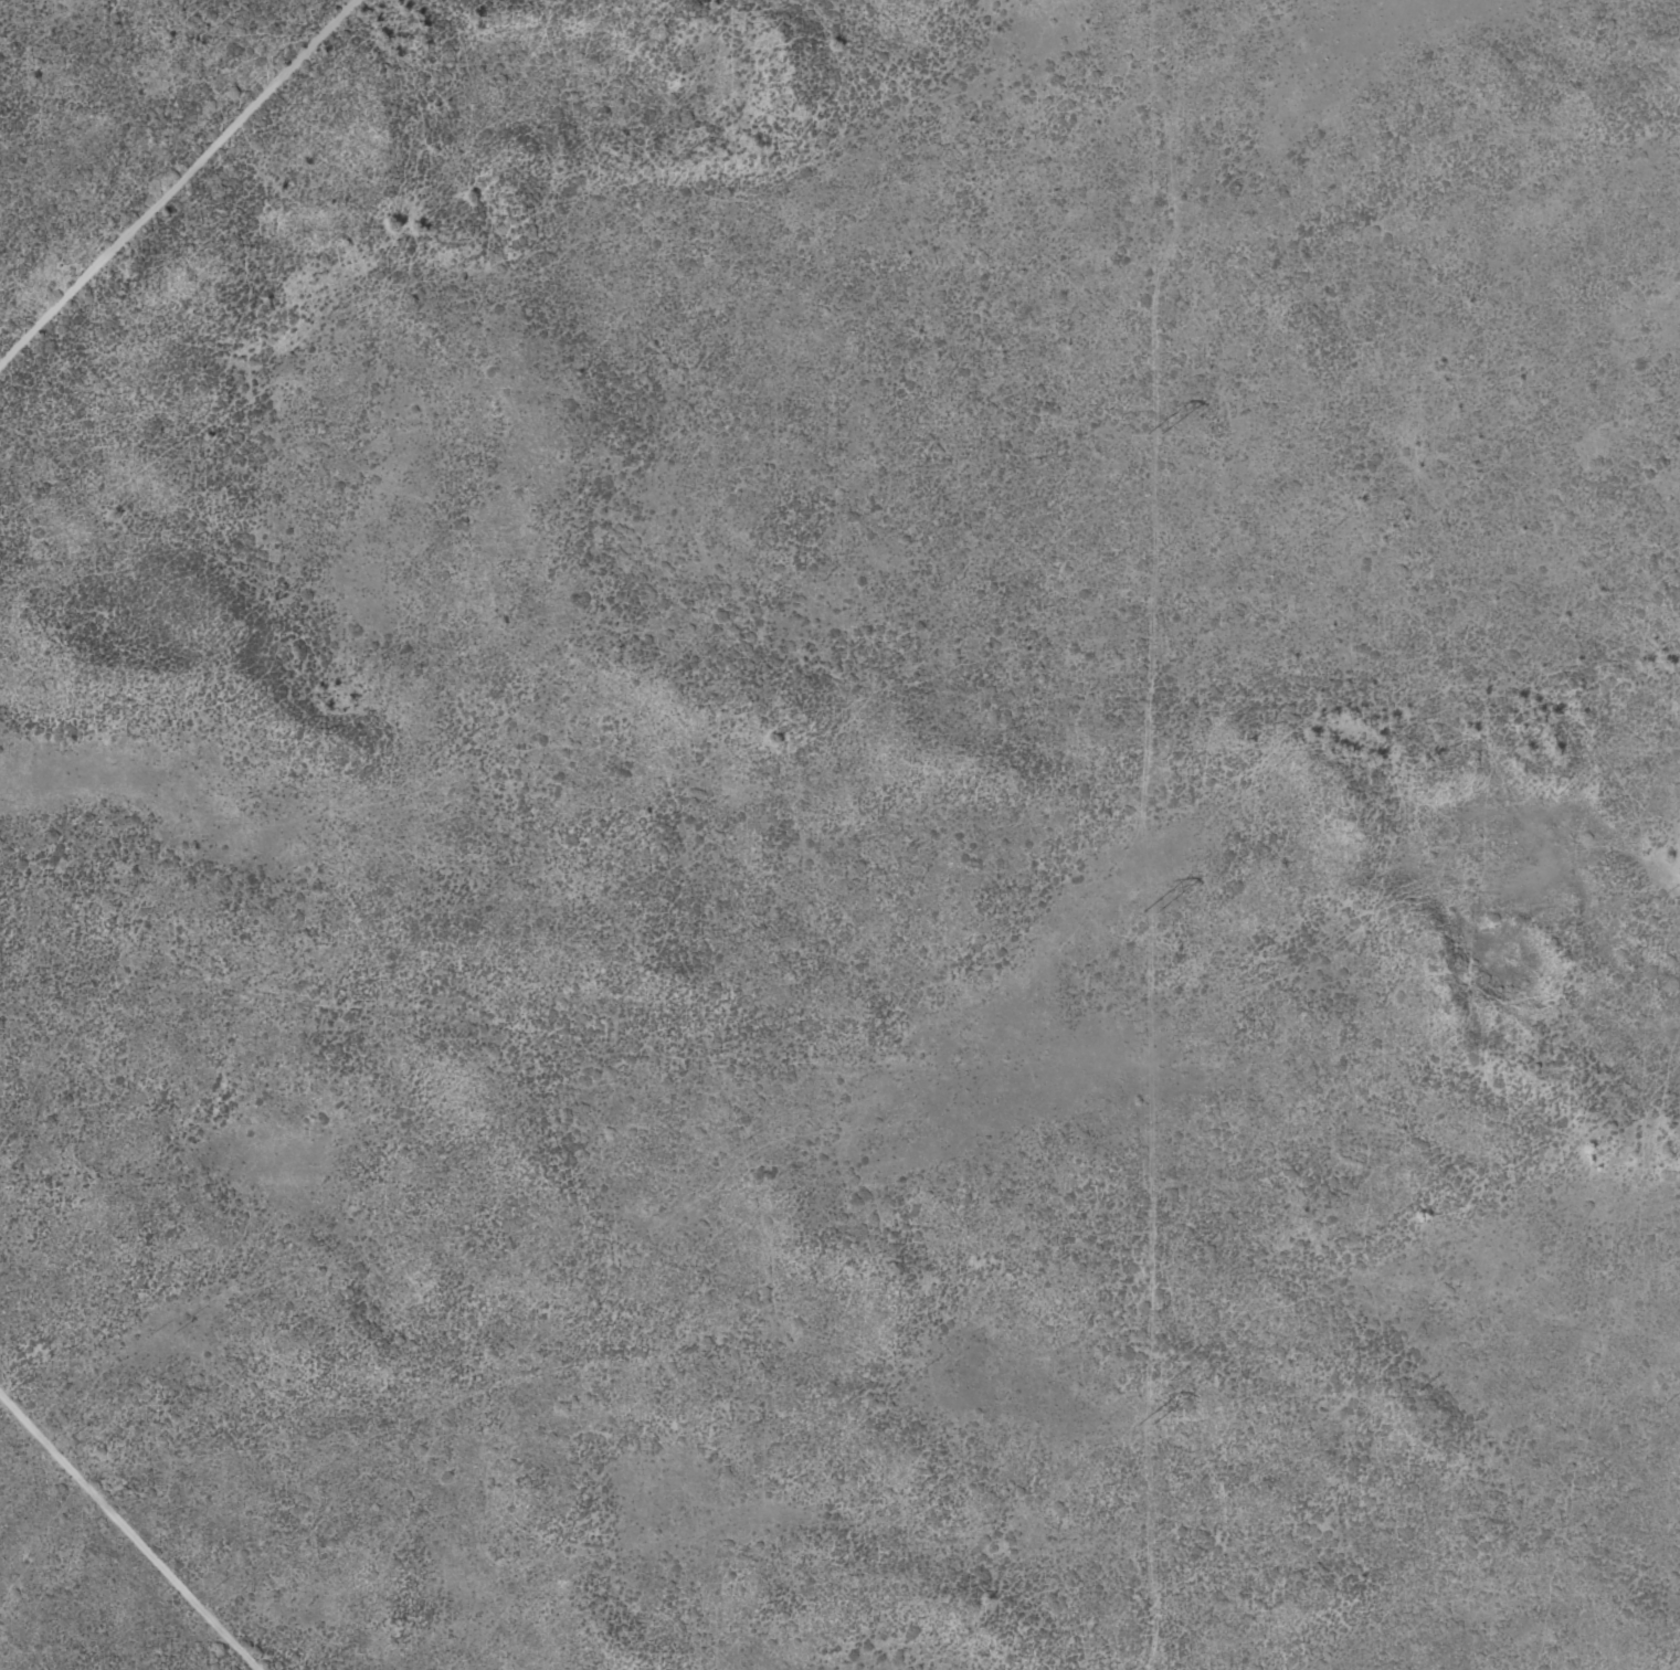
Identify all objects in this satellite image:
power tower: (1151, 433)
power tower: (1147, 912)
power tower: (1142, 1420)

